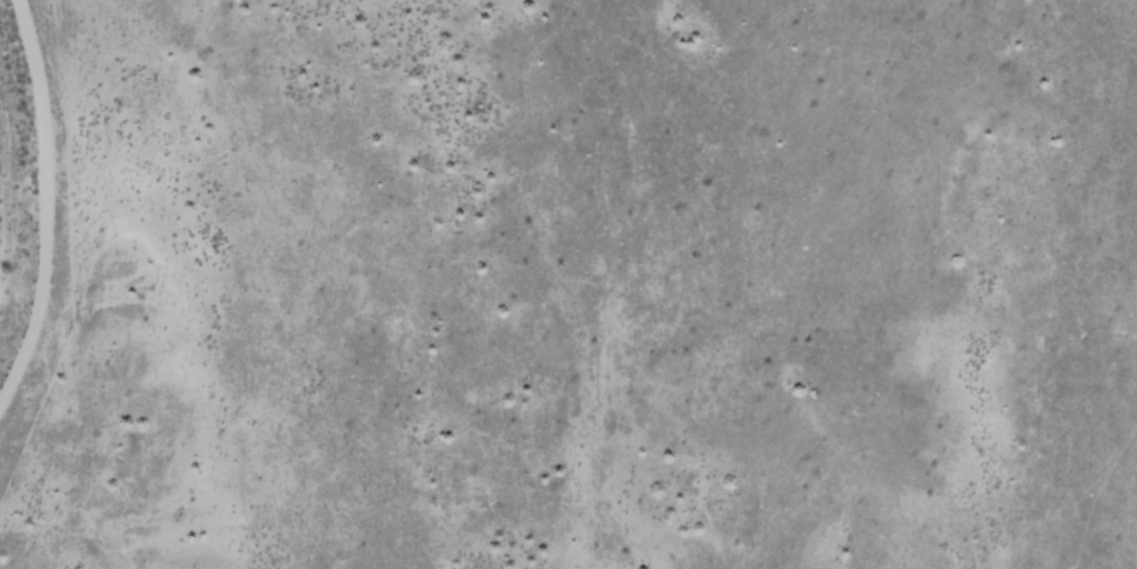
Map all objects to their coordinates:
road: (51, 207)

